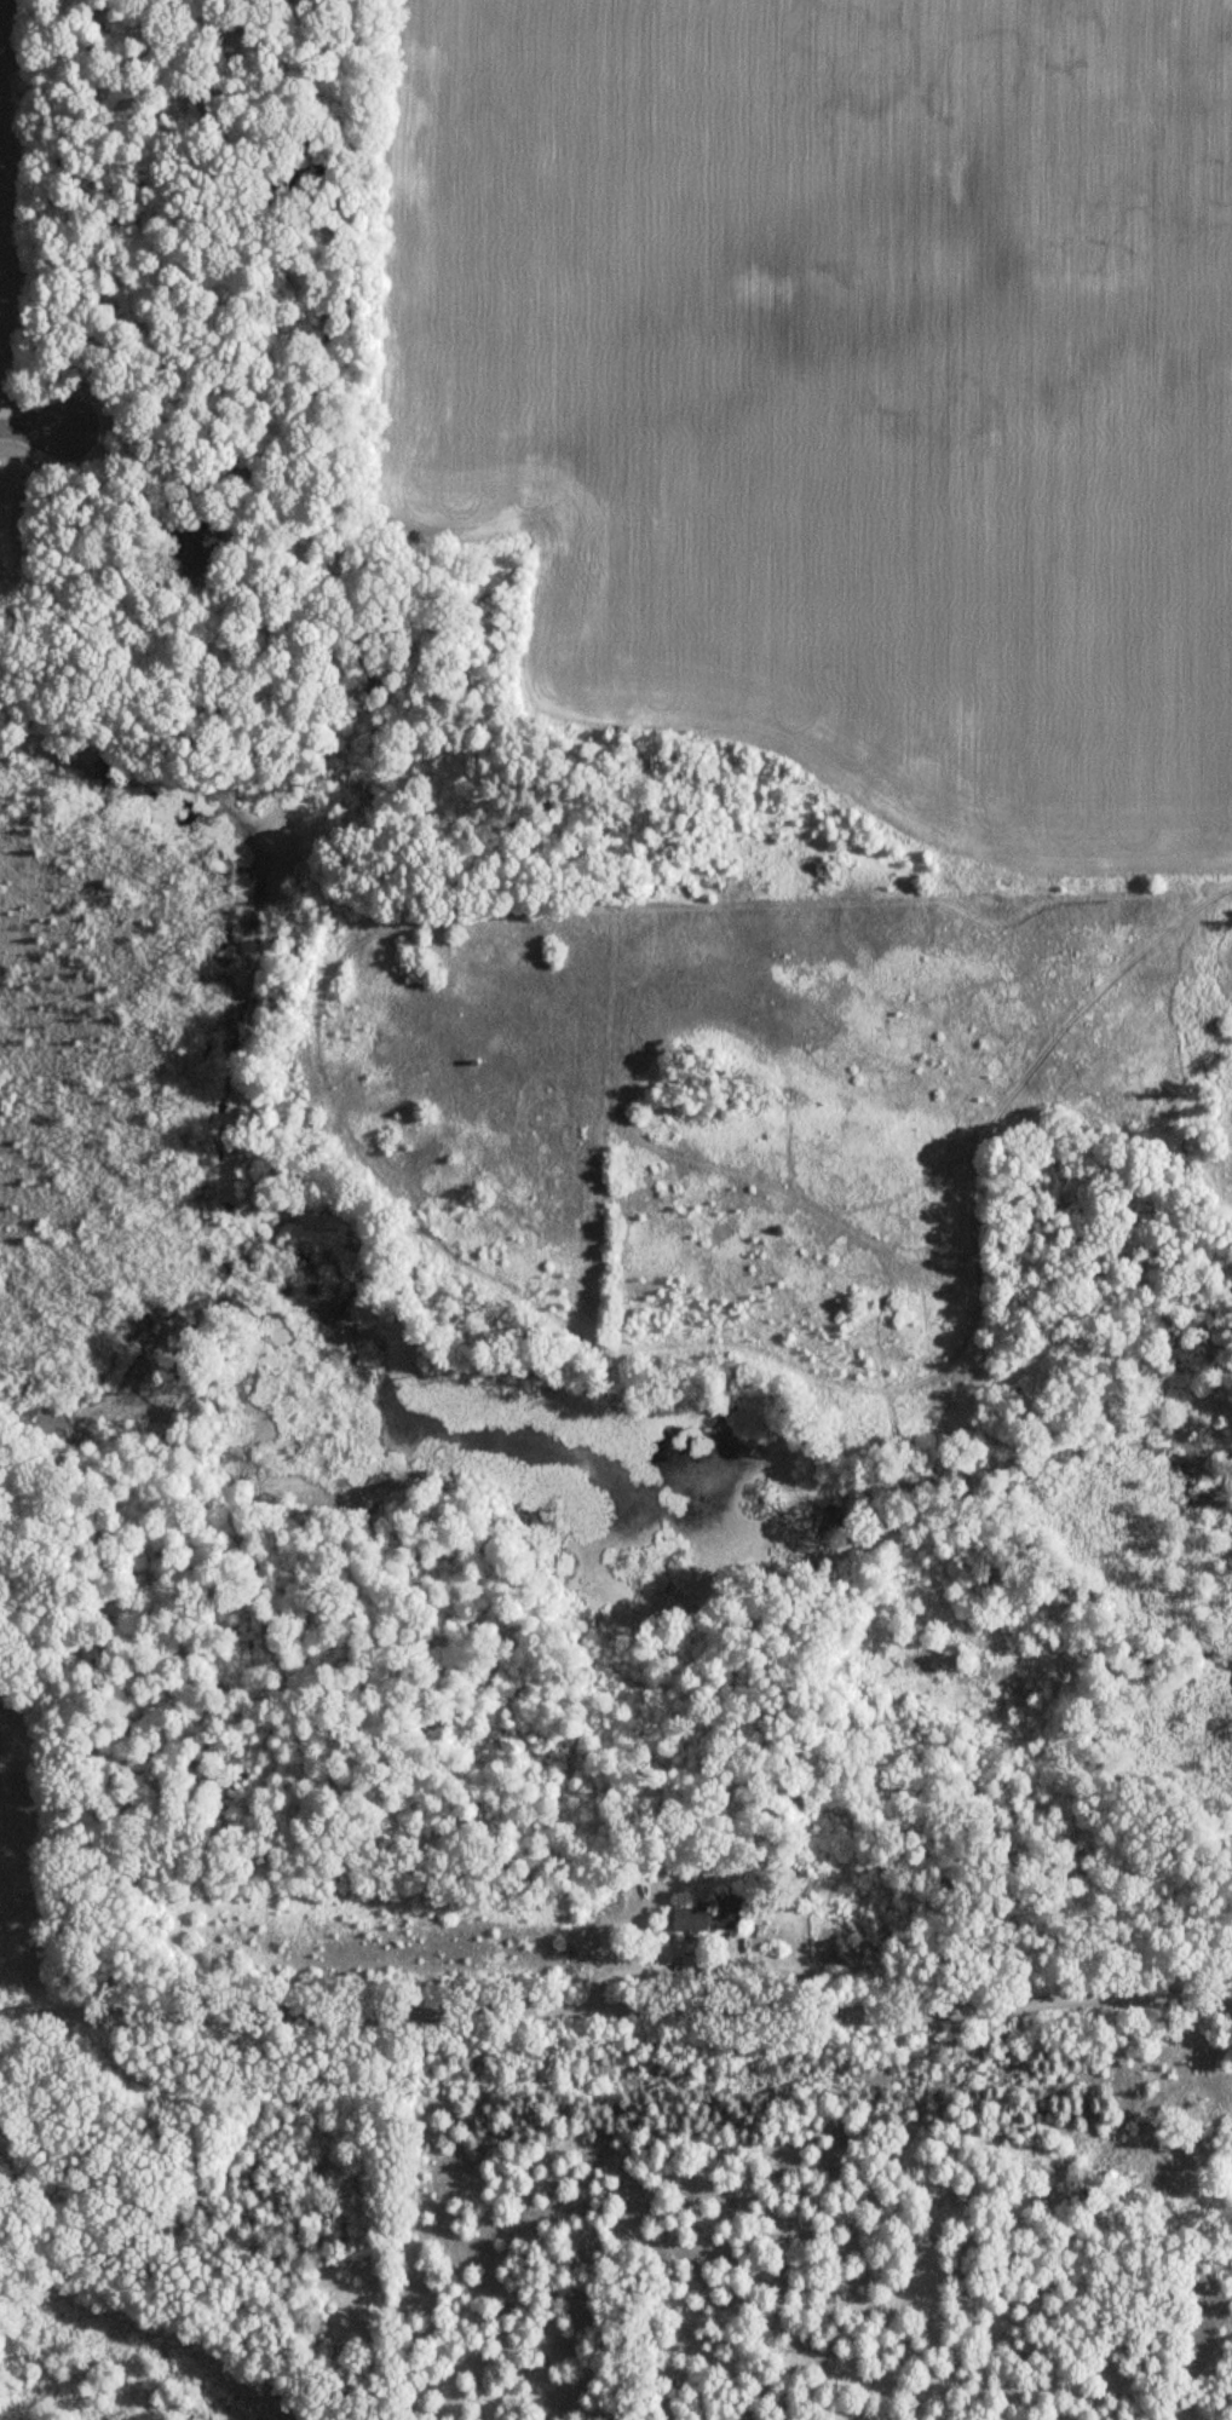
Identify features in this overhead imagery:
road: (30, 427)
building: (731, 1901)
building: (690, 1919)
road: (616, 2012)

